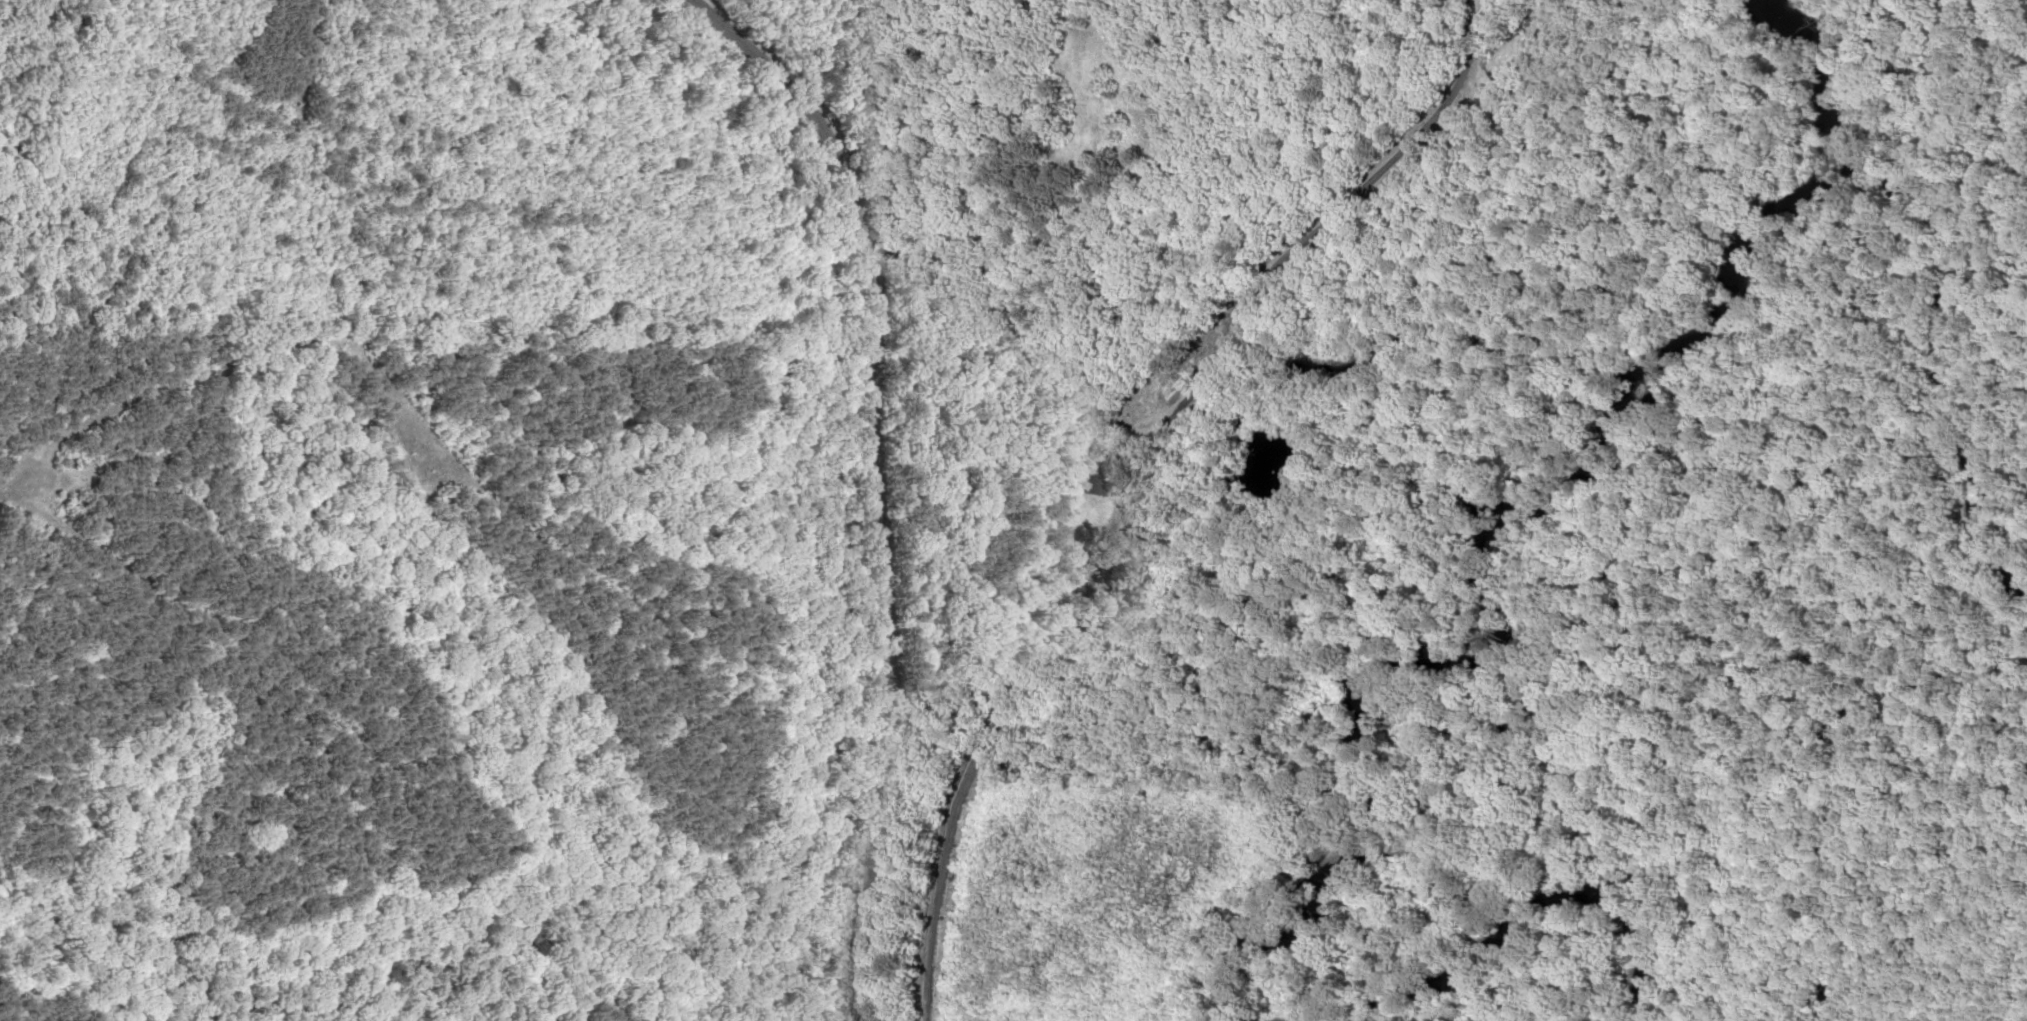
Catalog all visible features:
road: (1139, 464)
building: (1094, 469)
road: (858, 478)

